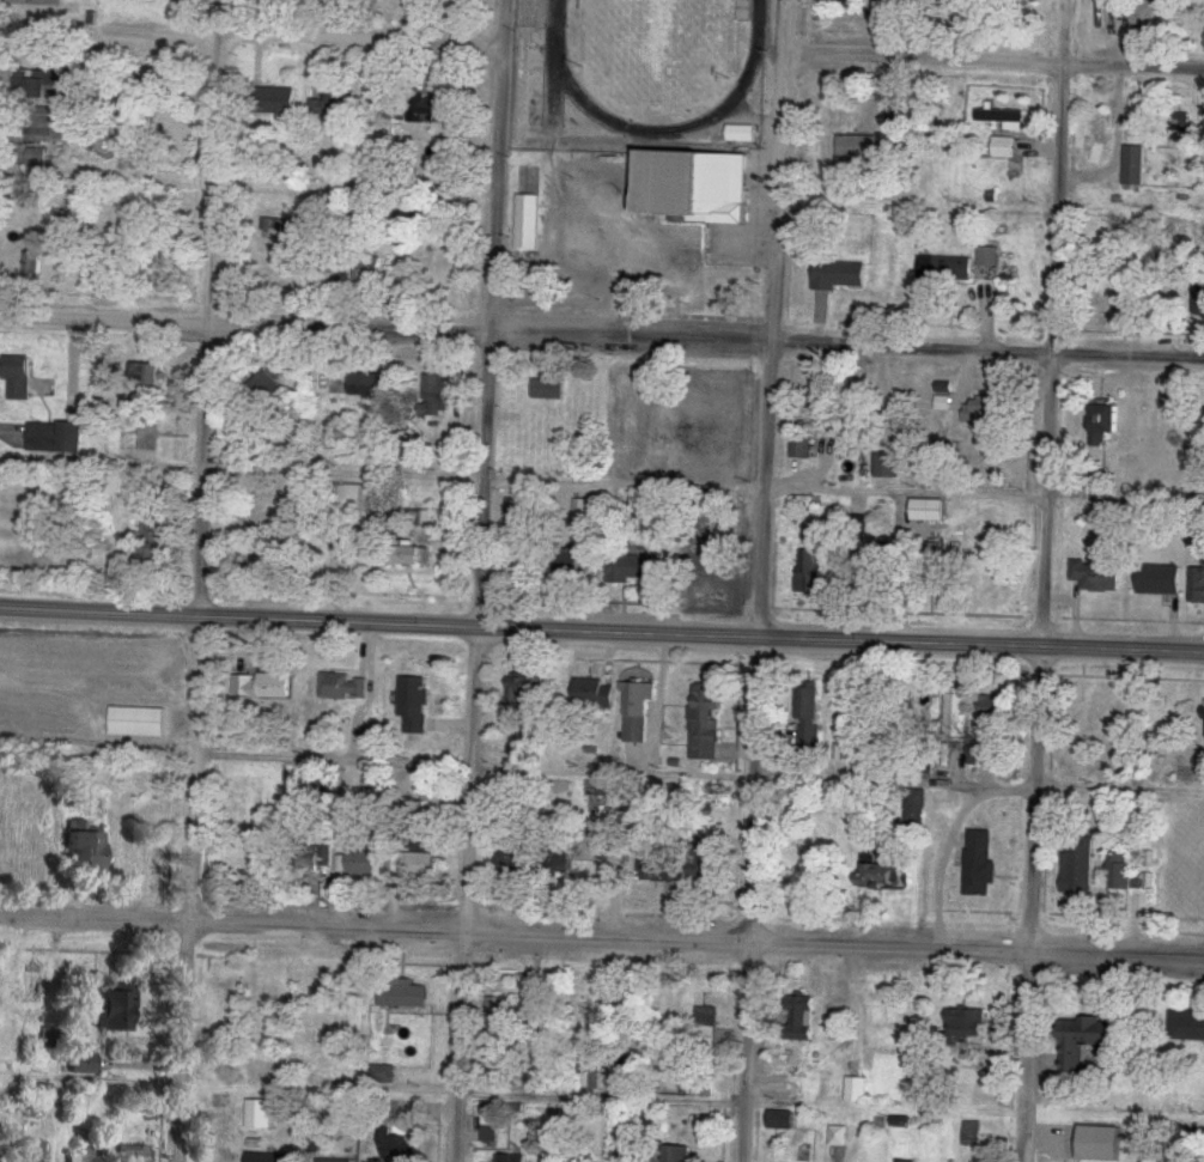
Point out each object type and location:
building: (43, 1)
building: (837, 4)
road: (360, 35)
road: (995, 59)
building: (534, 75)
building: (43, 85)
building: (275, 99)
building: (335, 104)
building: (426, 110)
building: (1178, 122)
building: (44, 127)
building: (1099, 133)
building: (742, 135)
building: (1004, 147)
building: (35, 158)
building: (1133, 165)
building: (662, 208)
building: (529, 221)
building: (268, 224)
building: (22, 264)
building: (371, 269)
building: (944, 269)
building: (838, 275)
building: (1202, 308)
road: (1051, 321)
road: (244, 323)
road: (633, 336)
road: (989, 348)
building: (148, 375)
building: (19, 378)
building: (365, 385)
building: (551, 388)
building: (269, 390)
building: (434, 396)
building: (989, 409)
building: (1103, 420)
building: (846, 432)
building: (55, 437)
building: (802, 448)
building: (889, 466)
building: (353, 499)
building: (802, 504)
building: (583, 509)
building: (930, 510)
building: (516, 516)
building: (421, 518)
building: (936, 549)
building: (415, 555)
building: (704, 556)
building: (568, 561)
building: (633, 568)
building: (810, 571)
building: (1094, 577)
road: (201, 580)
road: (481, 580)
road: (765, 580)
building: (1160, 580)
building: (1197, 585)
road: (382, 619)
road: (983, 641)
building: (264, 686)
building: (343, 687)
building: (525, 688)
building: (592, 693)
building: (639, 694)
building: (414, 705)
building: (956, 710)
building: (993, 711)
building: (809, 712)
building: (1115, 716)
building: (1084, 720)
building: (136, 722)
building: (705, 723)
building: (637, 732)
building: (715, 790)
building: (432, 802)
building: (83, 846)
building: (314, 858)
building: (510, 862)
building: (706, 862)
building: (360, 863)
building: (563, 863)
building: (421, 864)
building: (1078, 864)
building: (659, 868)
building: (979, 870)
building: (1123, 870)
building: (886, 876)
road: (1032, 902)
road: (602, 938)
building: (30, 984)
building: (405, 997)
building: (591, 999)
building: (113, 1009)
building: (705, 1010)
building: (497, 1016)
building: (801, 1018)
building: (966, 1023)
building: (1186, 1026)
building: (1086, 1039)
building: (80, 1063)
building: (383, 1077)
building: (856, 1089)
building: (260, 1114)
building: (782, 1120)
building: (489, 1123)
building: (838, 1136)
building: (1101, 1144)
building: (402, 1149)
building: (28, 1151)
building: (132, 1154)
building: (679, 1155)
building: (83, 1156)
building: (224, 1157)
building: (268, 1157)
building: (510, 1158)
building: (335, 1161)
building: (904, 1161)

